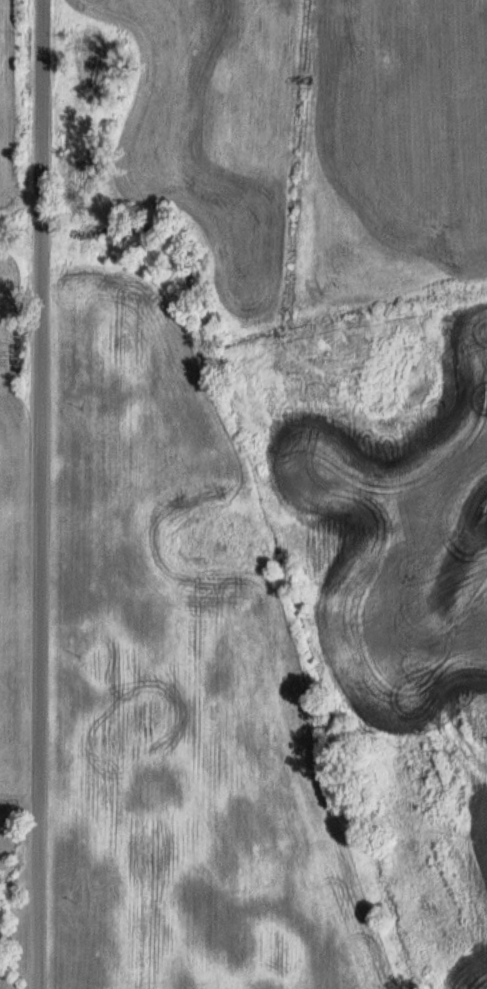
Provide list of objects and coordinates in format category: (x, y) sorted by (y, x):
road: (37, 494)

